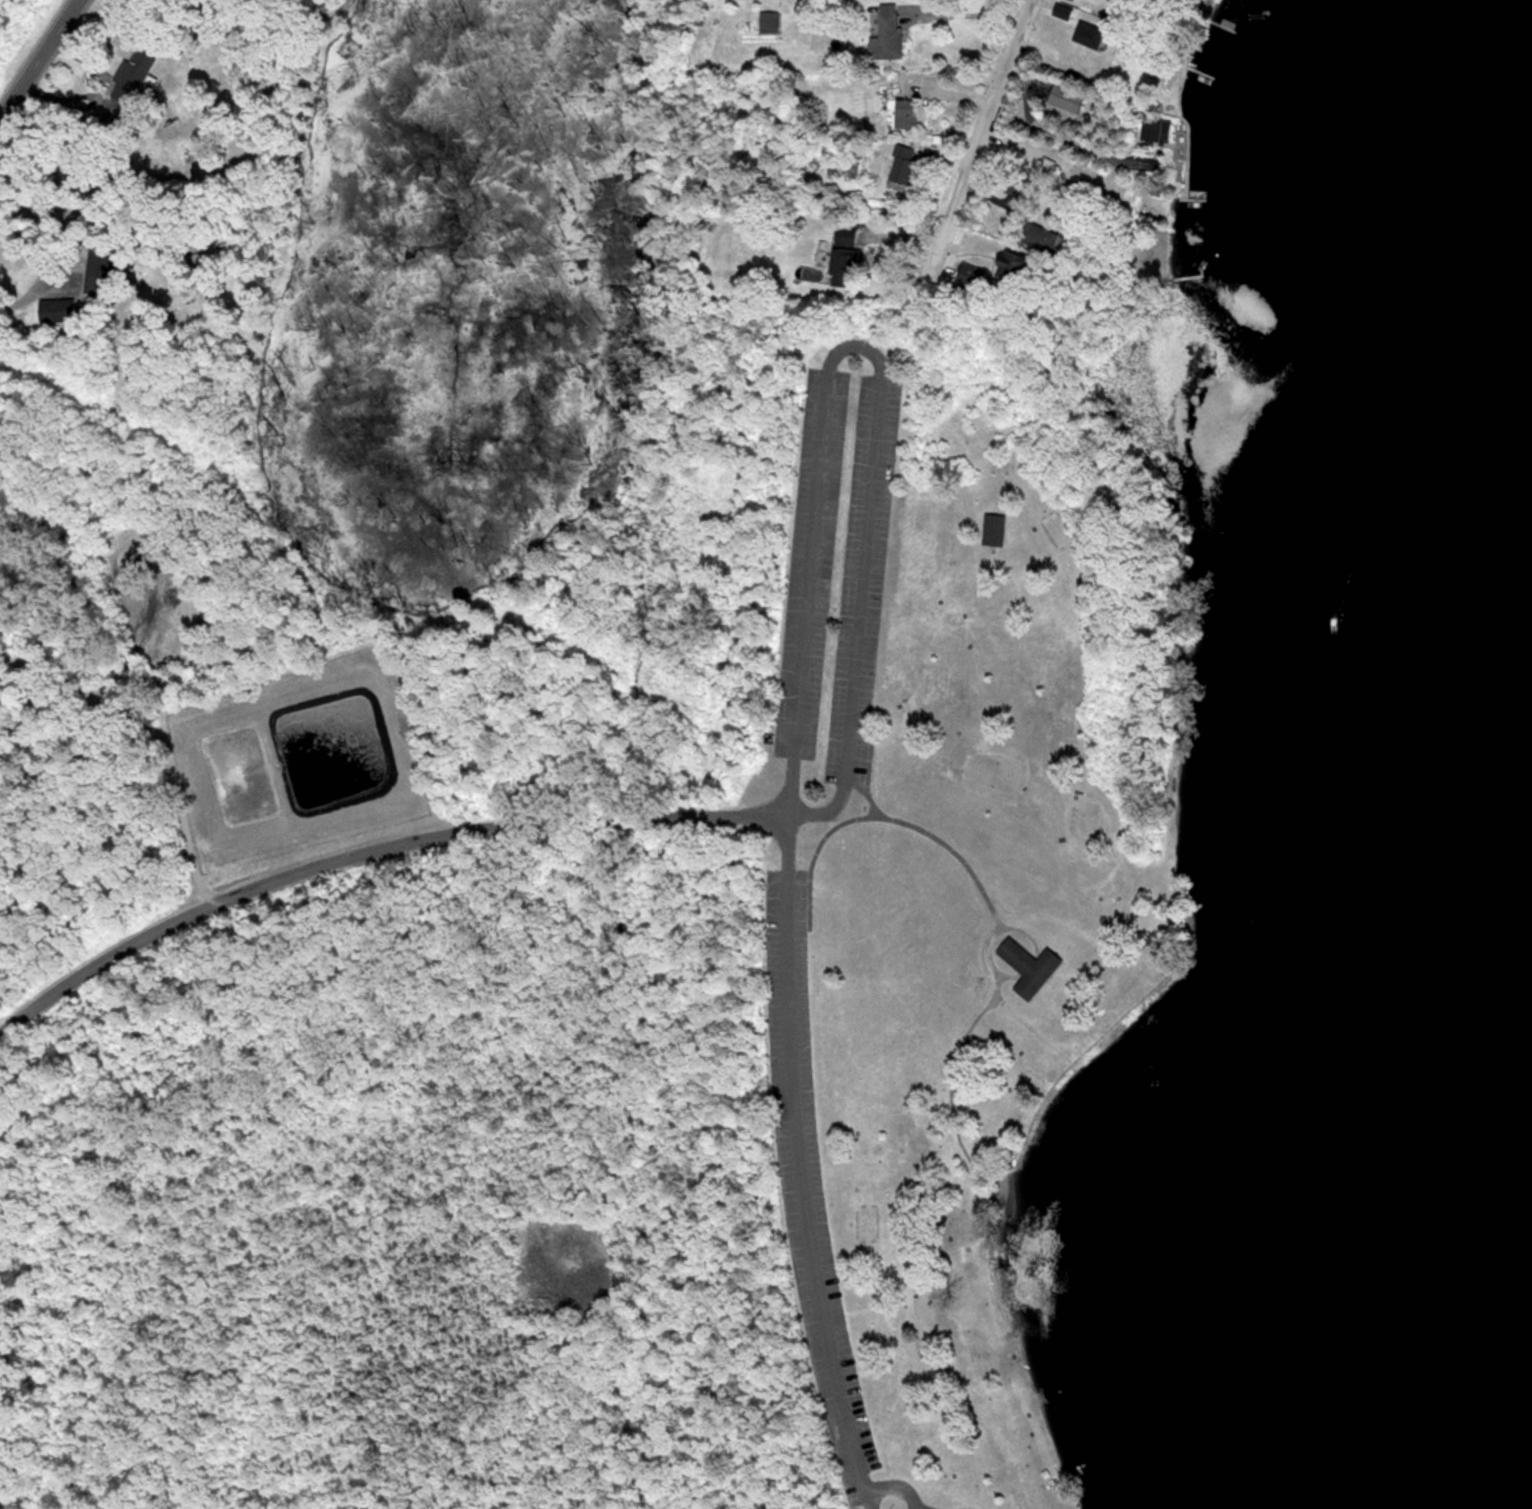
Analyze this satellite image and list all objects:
building: (1071, 0)
building: (1059, 11)
road: (964, 17)
building: (884, 30)
park: (21, 32)
building: (1084, 34)
road: (41, 63)
building: (128, 76)
road: (100, 91)
building: (1061, 97)
building: (901, 114)
building: (1151, 130)
building: (187, 131)
road: (1054, 134)
road: (981, 144)
building: (899, 165)
building: (1033, 236)
building: (189, 241)
building: (838, 256)
building: (97, 270)
road: (14, 298)
building: (54, 310)
building: (990, 529)
parking lot: (809, 561)
building: (129, 565)
parking lot: (862, 581)
road: (803, 653)
road: (155, 735)
park: (995, 773)
road: (868, 798)
road: (915, 827)
road: (370, 848)
park: (561, 889)
road: (992, 937)
building: (1029, 965)
road: (950, 1072)
parking lot: (806, 1169)
road: (891, 1483)

